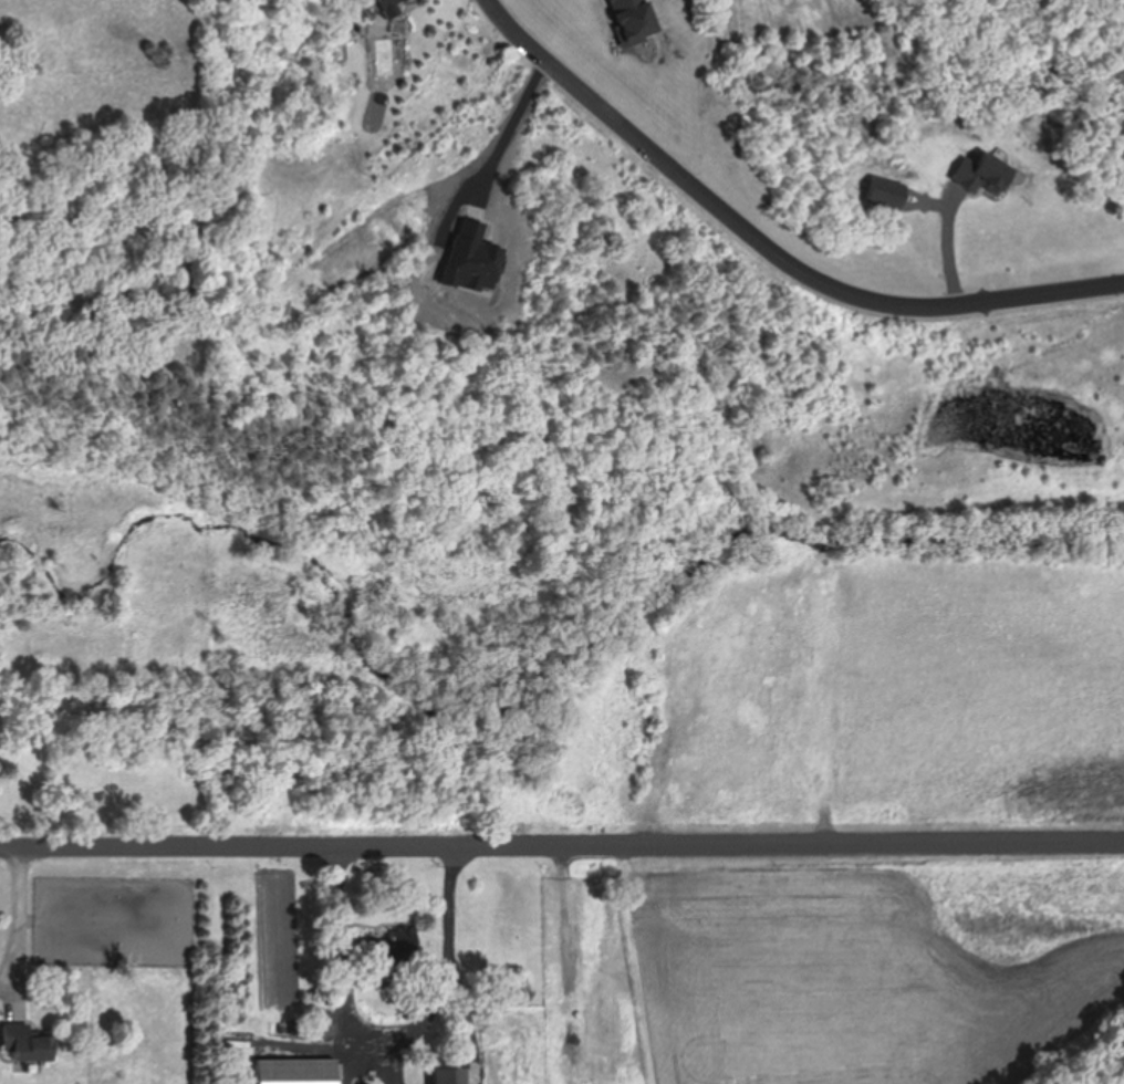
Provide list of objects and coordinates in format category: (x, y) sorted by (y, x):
building: (392, 4)
road: (514, 123)
building: (982, 177)
road: (767, 249)
road: (562, 850)
road: (15, 932)
building: (392, 948)
building: (324, 1025)
building: (28, 1044)
road: (387, 1044)
road: (306, 1046)
building: (296, 1072)
building: (450, 1076)

